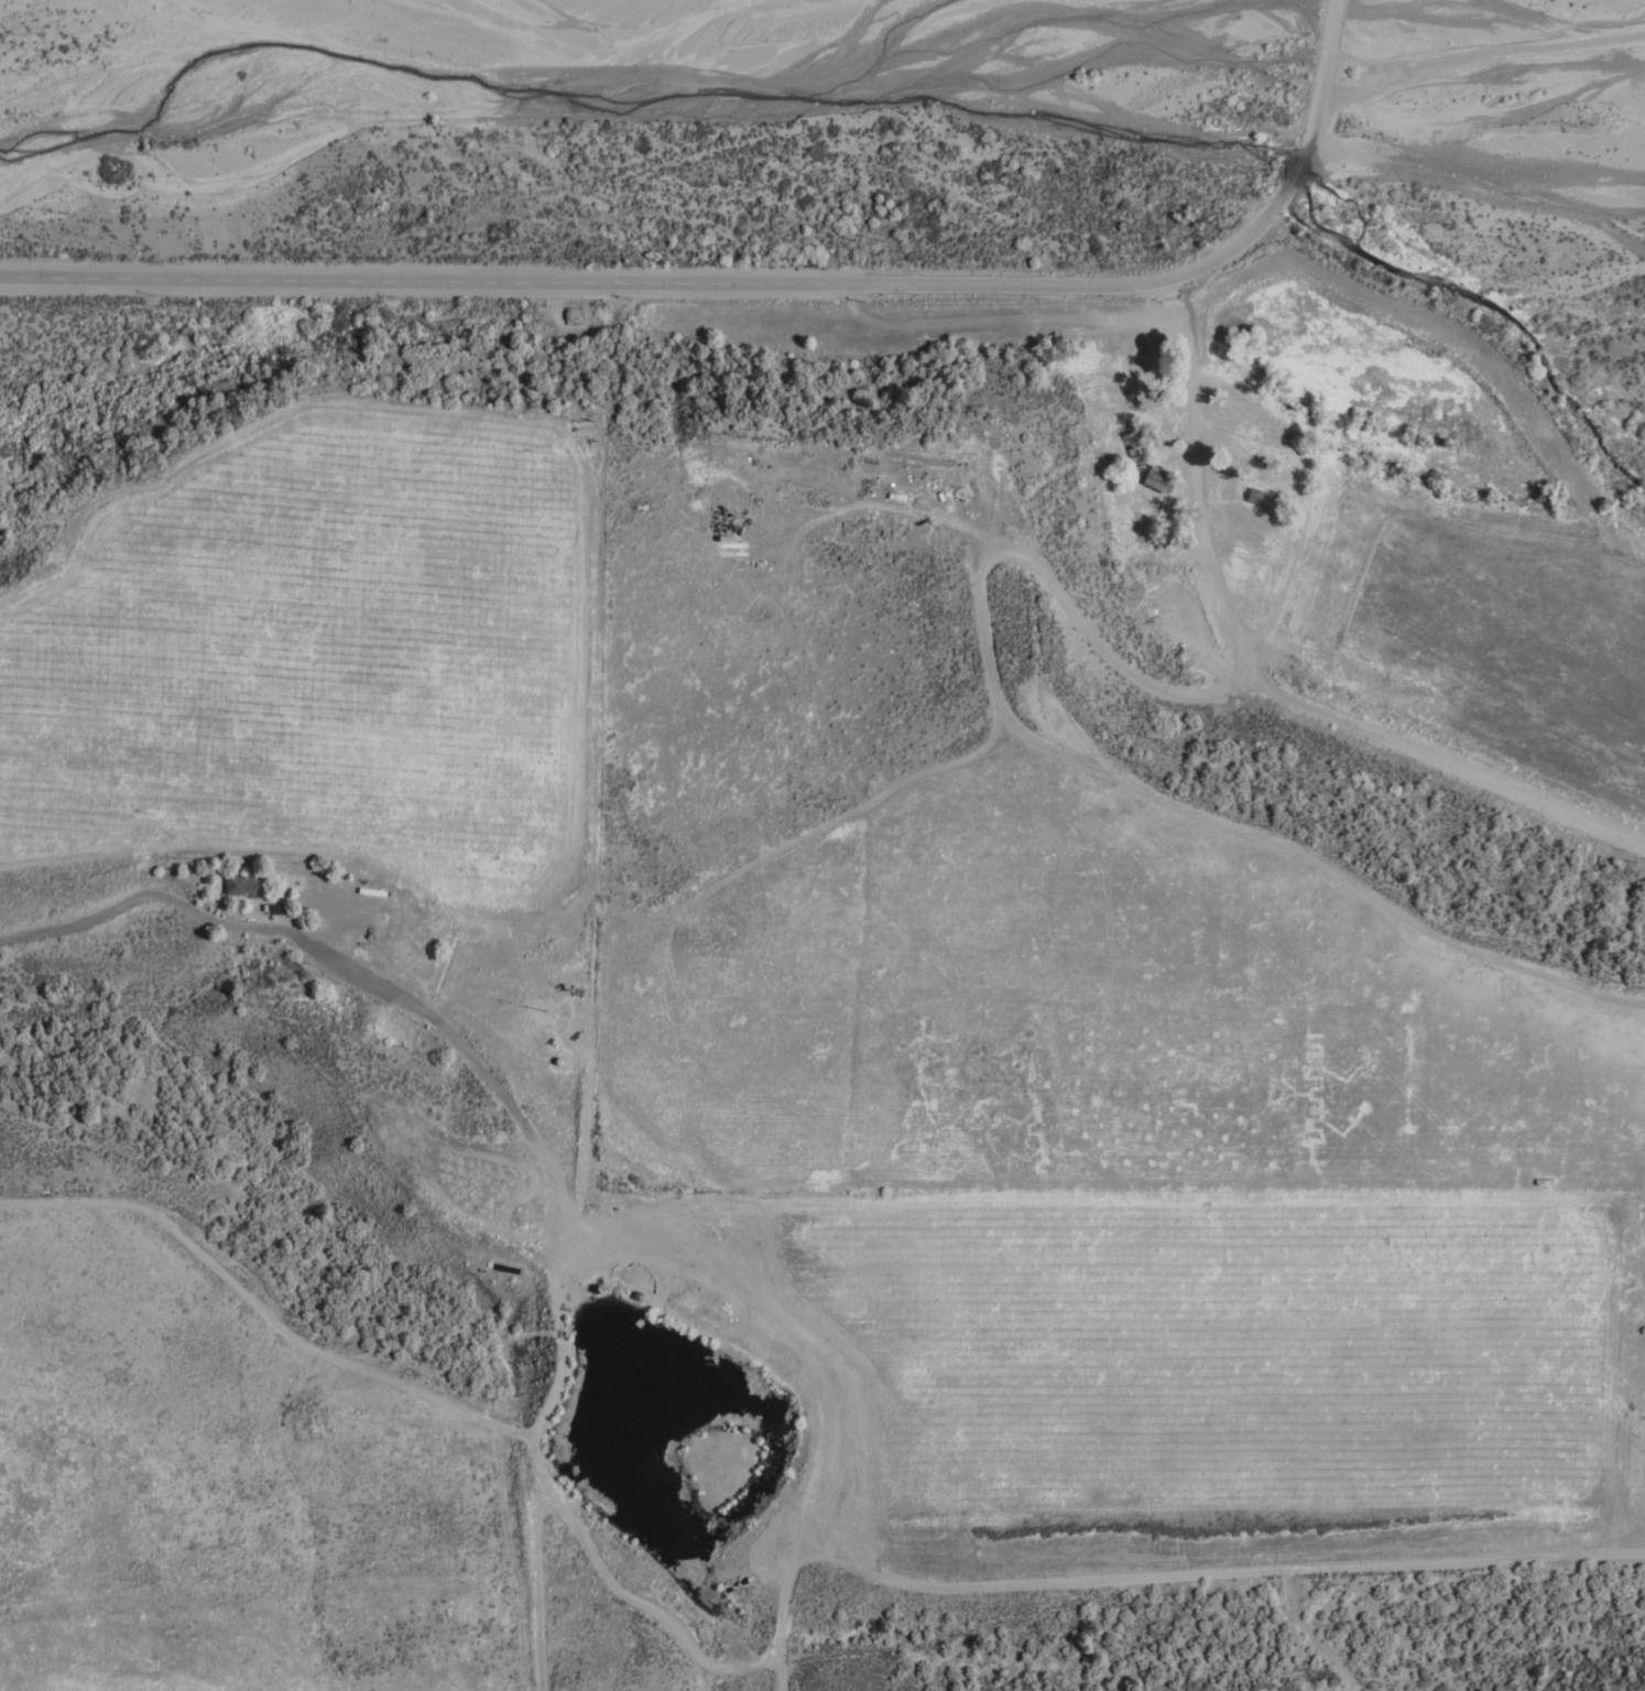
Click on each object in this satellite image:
river: (1642, 12)
road: (765, 289)
road: (1196, 486)
road: (1438, 765)
building: (244, 885)
road: (689, 1145)

